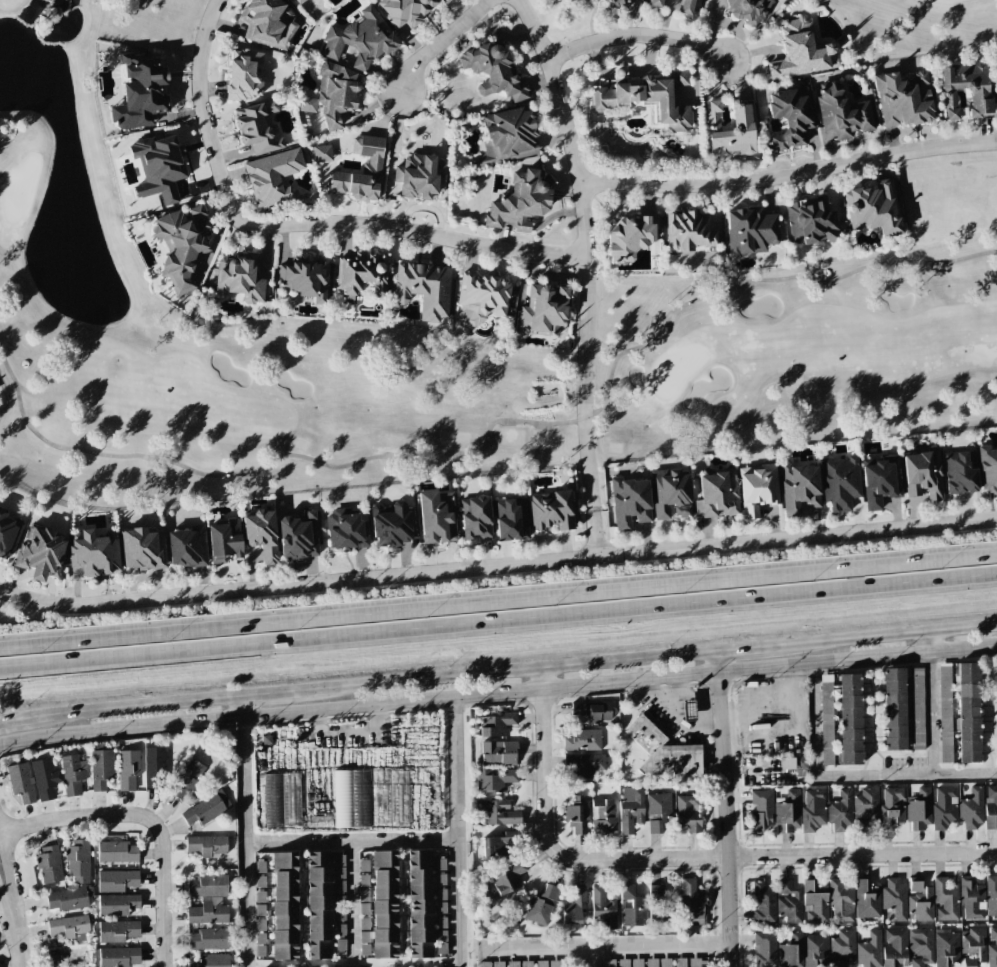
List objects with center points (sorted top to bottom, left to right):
building: (300, 1)
building: (446, 1)
building: (616, 2)
building: (655, 3)
building: (687, 7)
building: (405, 10)
building: (748, 10)
building: (266, 23)
park: (915, 26)
road: (637, 36)
building: (360, 39)
road: (438, 42)
building: (800, 51)
building: (493, 71)
building: (244, 74)
building: (140, 93)
building: (977, 94)
building: (332, 95)
building: (647, 96)
building: (903, 99)
building: (842, 112)
building: (789, 119)
building: (258, 127)
building: (730, 129)
building: (507, 136)
building: (322, 153)
building: (372, 163)
building: (158, 167)
road: (790, 173)
building: (420, 176)
building: (274, 178)
building: (521, 200)
building: (874, 208)
building: (809, 223)
road: (294, 225)
building: (688, 231)
building: (750, 231)
building: (629, 236)
building: (181, 246)
road: (583, 249)
building: (362, 273)
building: (305, 277)
building: (239, 278)
building: (424, 289)
building: (482, 299)
building: (542, 310)
park: (422, 346)
building: (988, 470)
building: (960, 472)
building: (922, 475)
building: (840, 483)
building: (879, 483)
building: (799, 488)
building: (756, 489)
building: (670, 494)
building: (716, 494)
building: (629, 503)
building: (551, 510)
building: (437, 517)
building: (475, 518)
building: (510, 519)
building: (391, 525)
building: (344, 530)
road: (596, 533)
building: (6, 534)
building: (261, 534)
building: (298, 536)
building: (223, 541)
building: (186, 547)
building: (142, 549)
building: (40, 553)
building: (93, 554)
road: (497, 564)
road: (498, 598)
road: (498, 622)
road: (889, 633)
road: (932, 642)
road: (748, 647)
railway: (498, 649)
road: (507, 671)
road: (619, 683)
road: (676, 686)
road: (270, 693)
road: (688, 695)
road: (711, 701)
road: (135, 706)
gas station: (688, 709)
building: (894, 709)
building: (917, 709)
building: (595, 710)
building: (688, 710)
building: (945, 712)
road: (933, 713)
building: (968, 713)
building: (849, 718)
building: (826, 720)
road: (15, 721)
building: (495, 724)
road: (120, 729)
road: (349, 730)
gas station: (644, 734)
building: (582, 740)
building: (498, 753)
building: (673, 761)
building: (801, 763)
building: (583, 764)
building: (155, 767)
building: (101, 768)
building: (127, 770)
road: (857, 772)
building: (72, 775)
building: (44, 779)
building: (494, 779)
building: (186, 780)
building: (20, 782)
building: (350, 798)
building: (388, 798)
building: (281, 801)
building: (944, 806)
building: (990, 806)
building: (865, 807)
building: (208, 808)
road: (728, 808)
building: (892, 808)
building: (919, 808)
building: (971, 808)
building: (630, 809)
building: (761, 809)
building: (812, 809)
building: (840, 810)
building: (497, 812)
building: (657, 812)
building: (687, 812)
building: (787, 812)
building: (578, 814)
building: (604, 817)
road: (150, 819)
building: (319, 822)
road: (245, 831)
road: (457, 833)
road: (352, 839)
building: (500, 843)
building: (207, 845)
building: (118, 852)
road: (683, 858)
building: (78, 860)
building: (339, 860)
building: (439, 864)
building: (49, 865)
building: (363, 865)
building: (260, 866)
building: (340, 872)
building: (508, 877)
building: (441, 879)
building: (116, 880)
building: (364, 880)
building: (260, 881)
building: (208, 886)
building: (339, 886)
building: (440, 894)
building: (363, 895)
road: (350, 896)
building: (992, 896)
building: (260, 897)
building: (66, 898)
building: (895, 898)
building: (867, 899)
building: (972, 899)
building: (692, 900)
building: (841, 900)
building: (920, 900)
building: (945, 900)
building: (340, 901)
building: (762, 902)
building: (383, 903)
building: (657, 903)
building: (788, 903)
building: (116, 904)
building: (420, 904)
building: (318, 905)
building: (815, 905)
building: (571, 906)
road: (13, 907)
building: (441, 907)
building: (541, 907)
building: (259, 909)
building: (285, 909)
building: (363, 909)
building: (603, 909)
building: (632, 909)
building: (208, 911)
building: (339, 915)
building: (364, 923)
building: (440, 923)
building: (260, 924)
building: (69, 926)
building: (340, 930)
building: (117, 931)
building: (441, 935)
building: (364, 937)
road: (9, 938)
building: (260, 938)
building: (209, 939)
building: (340, 945)
road: (606, 946)
building: (974, 946)
building: (921, 947)
building: (441, 948)
building: (895, 948)
building: (946, 948)
building: (992, 948)
building: (764, 949)
building: (816, 949)
building: (842, 949)
building: (260, 950)
building: (364, 950)
building: (869, 950)
building: (791, 951)
building: (119, 956)
building: (211, 960)
building: (652, 962)
building: (664, 962)
building: (680, 962)
building: (694, 962)
building: (541, 963)
building: (554, 963)
building: (637, 963)
building: (484, 964)
building: (497, 964)
building: (512, 964)
building: (526, 964)
building: (608, 964)
building: (623, 964)

